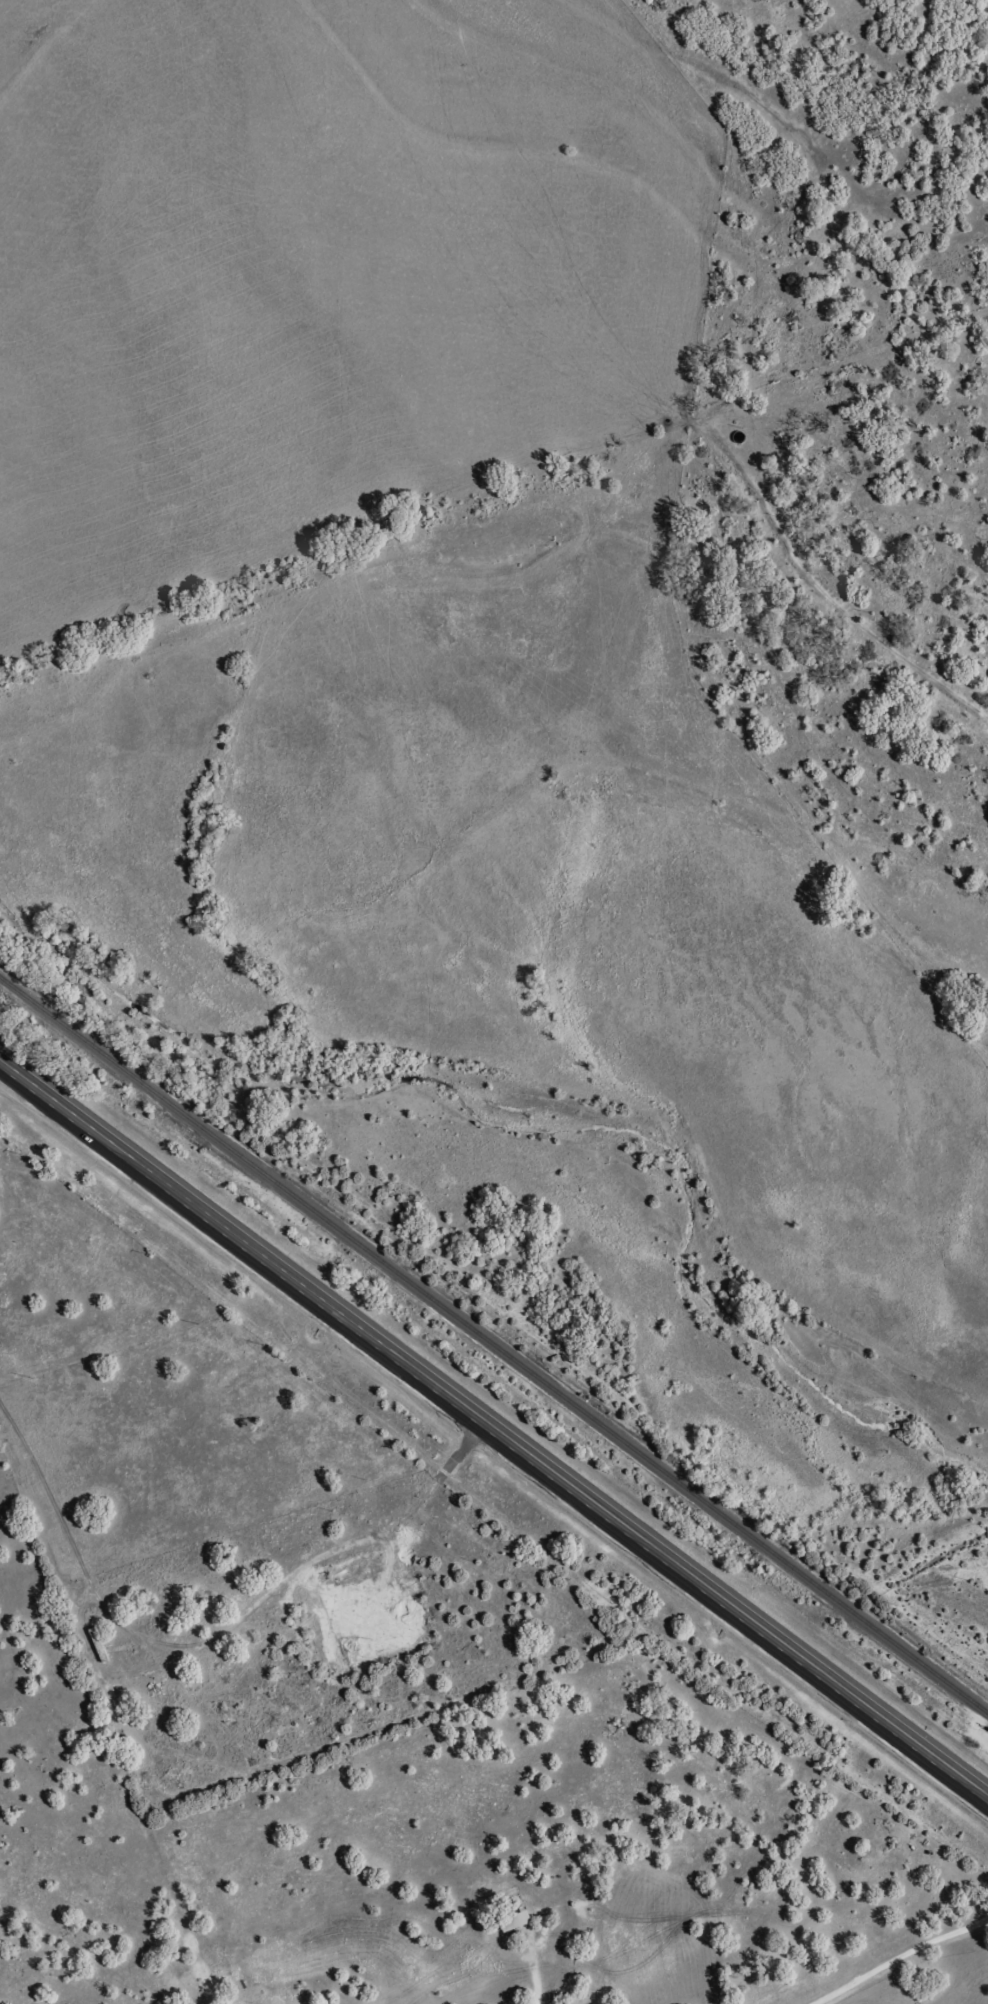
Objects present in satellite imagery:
railway: (494, 1345)
road: (494, 1425)
building: (98, 1644)
building: (514, 1920)

